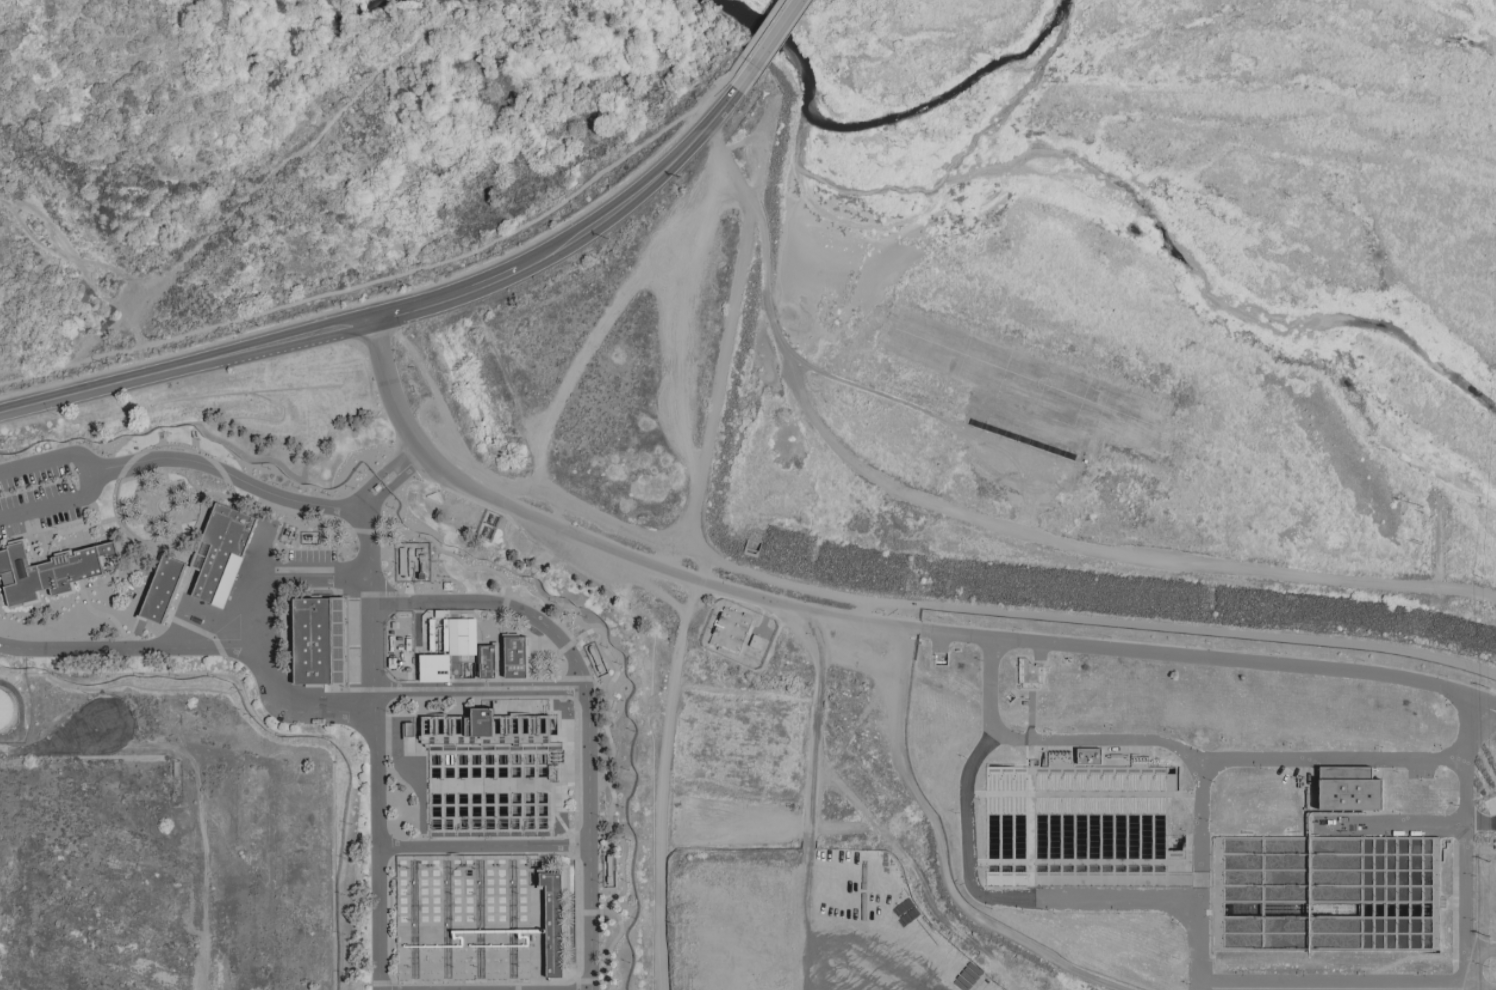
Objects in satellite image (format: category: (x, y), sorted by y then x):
road: (753, 40)
road: (766, 45)
road: (761, 224)
road: (61, 250)
road: (421, 270)
road: (397, 312)
road: (136, 325)
road: (788, 351)
road: (35, 375)
park: (1030, 390)
road: (715, 392)
building: (1020, 439)
airport runway: (1151, 439)
road: (415, 458)
road: (48, 459)
parking lot: (1021, 469)
road: (224, 473)
road: (380, 474)
road: (390, 485)
road: (56, 502)
road: (1015, 534)
road: (591, 547)
building: (220, 554)
building: (47, 571)
road: (312, 575)
road: (1288, 577)
building: (161, 589)
road: (252, 589)
road: (804, 590)
road: (368, 597)
road: (497, 603)
road: (1205, 631)
building: (318, 641)
road: (199, 648)
building: (515, 657)
road: (1208, 658)
building: (486, 661)
building: (433, 668)
wastewater plant: (335, 688)
road: (479, 693)
building: (5, 710)
building: (408, 729)
road: (1163, 741)
road: (52, 743)
building: (1087, 755)
road: (1329, 757)
building: (489, 773)
building: (1348, 789)
road: (819, 799)
wastewater plant: (1212, 804)
road: (1391, 821)
road: (1461, 842)
road: (480, 845)
road: (939, 854)
building: (474, 918)
road: (1479, 946)
road: (1419, 989)

